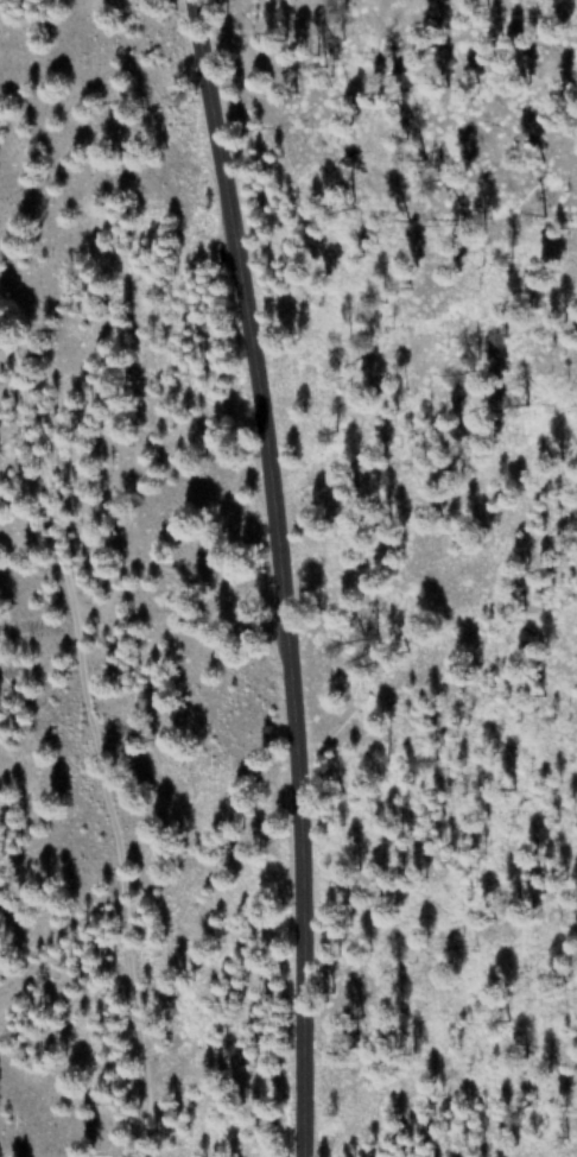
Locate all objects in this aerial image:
road: (272, 575)

